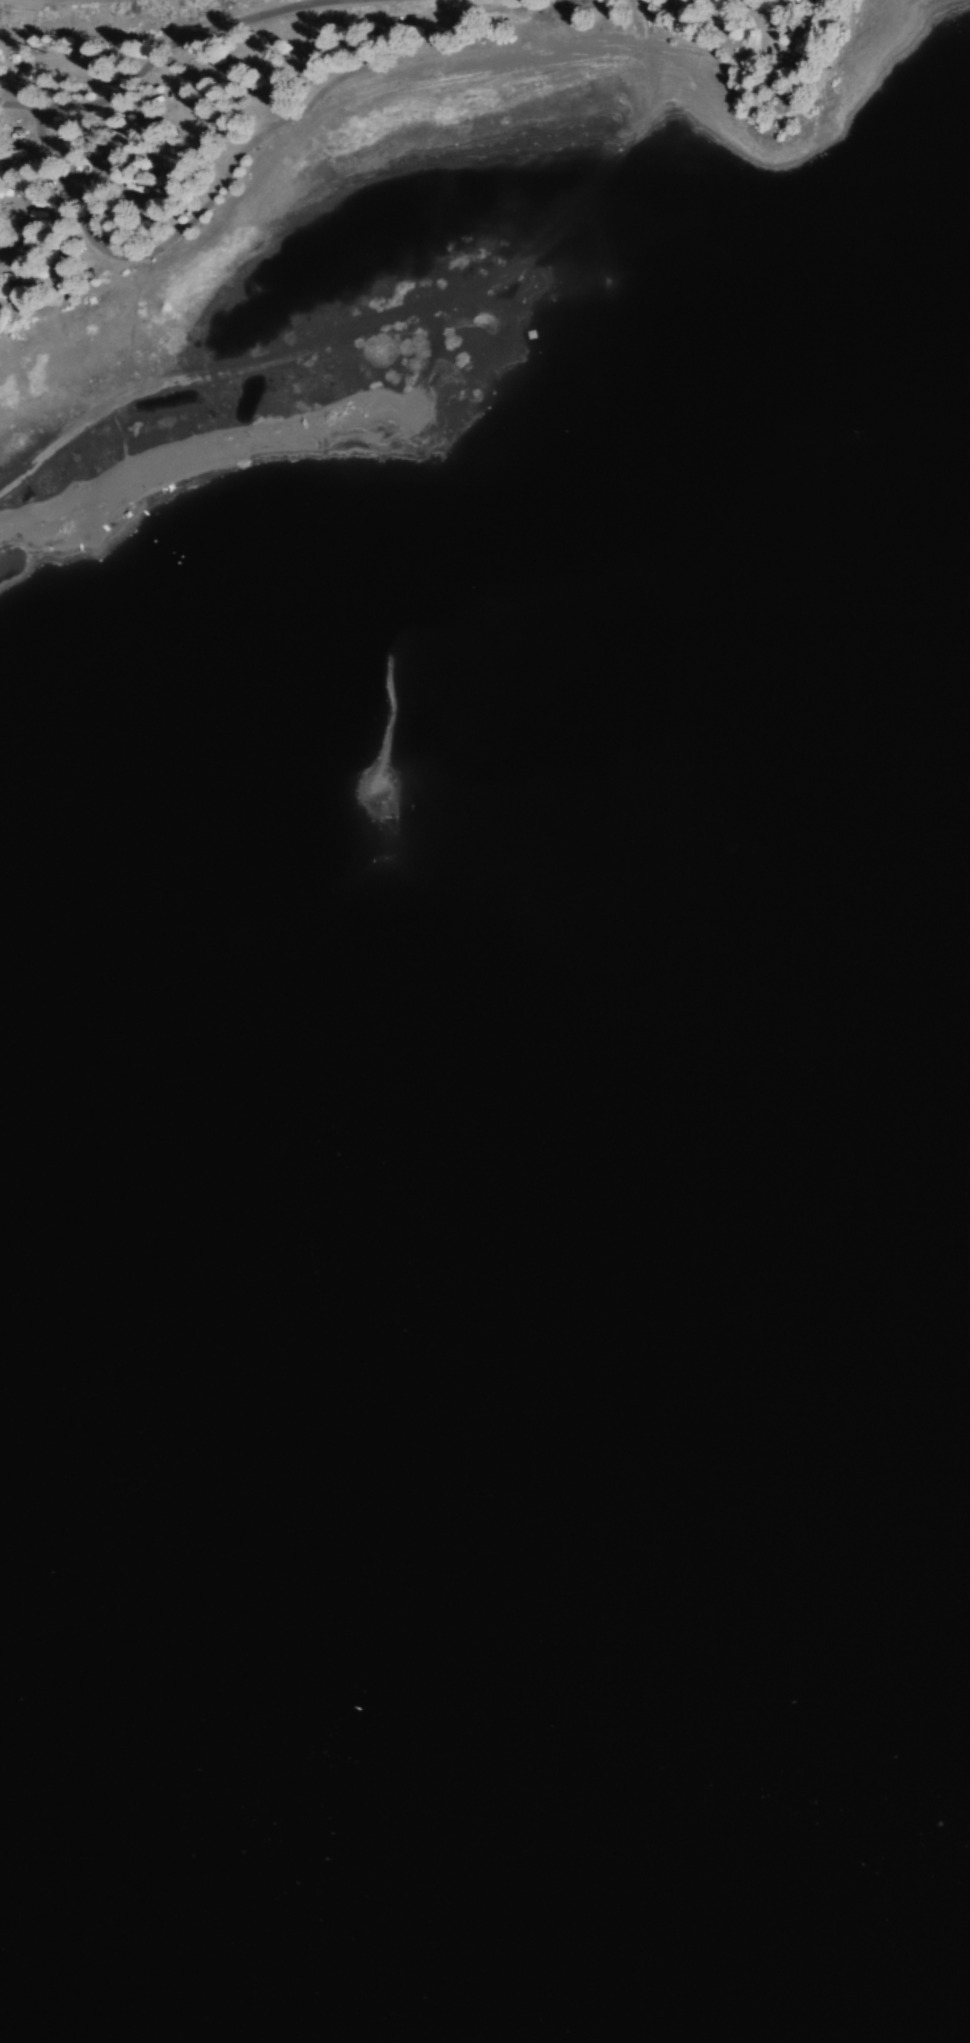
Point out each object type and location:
road: (184, 57)

